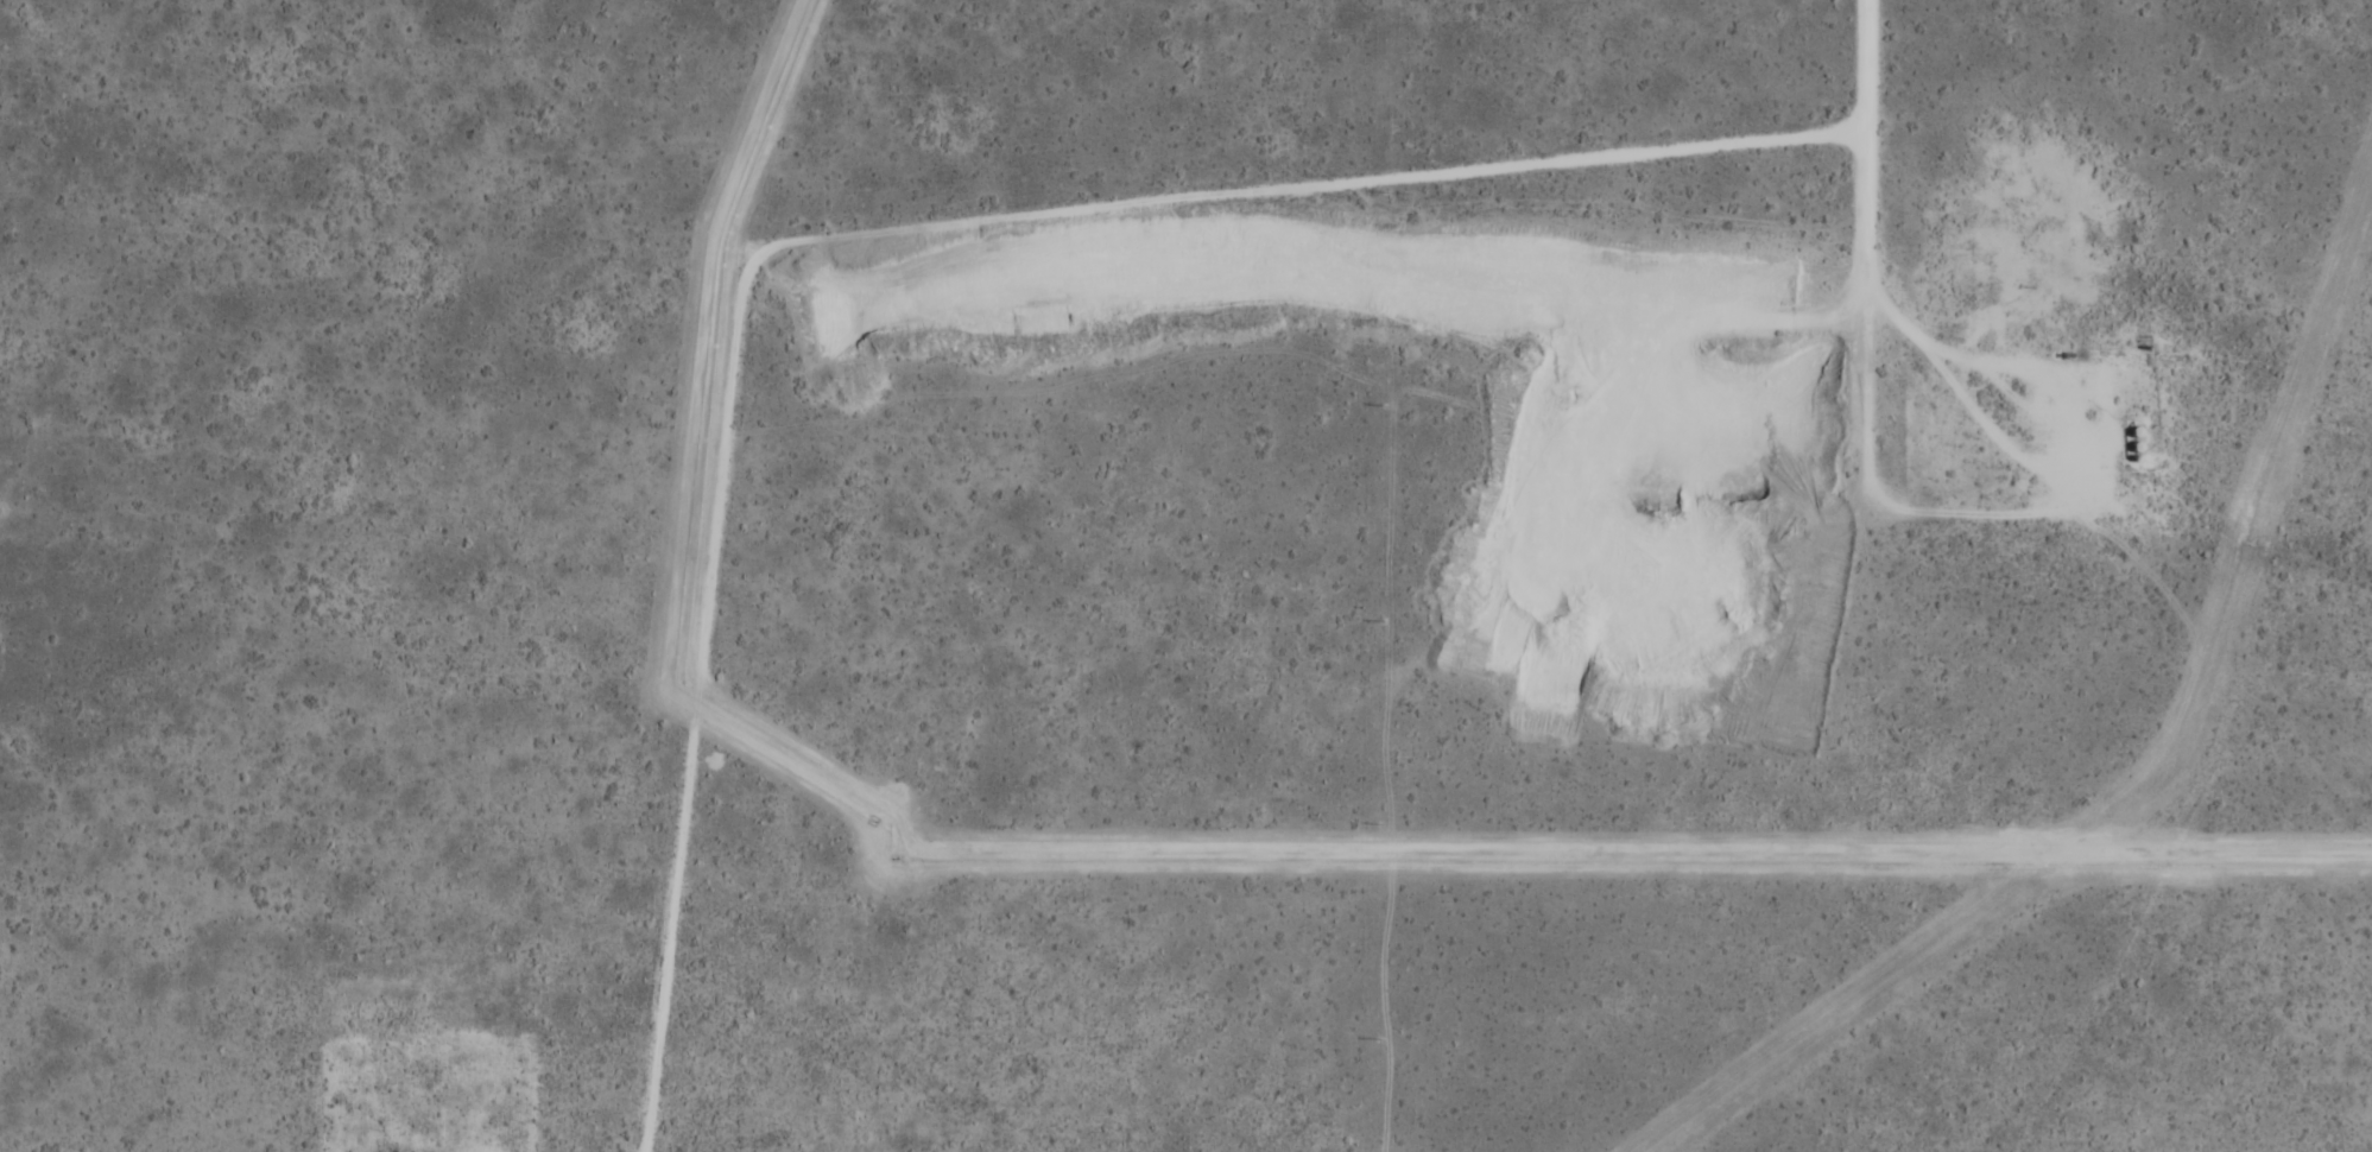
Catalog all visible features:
road: (865, 224)
road: (1903, 310)

